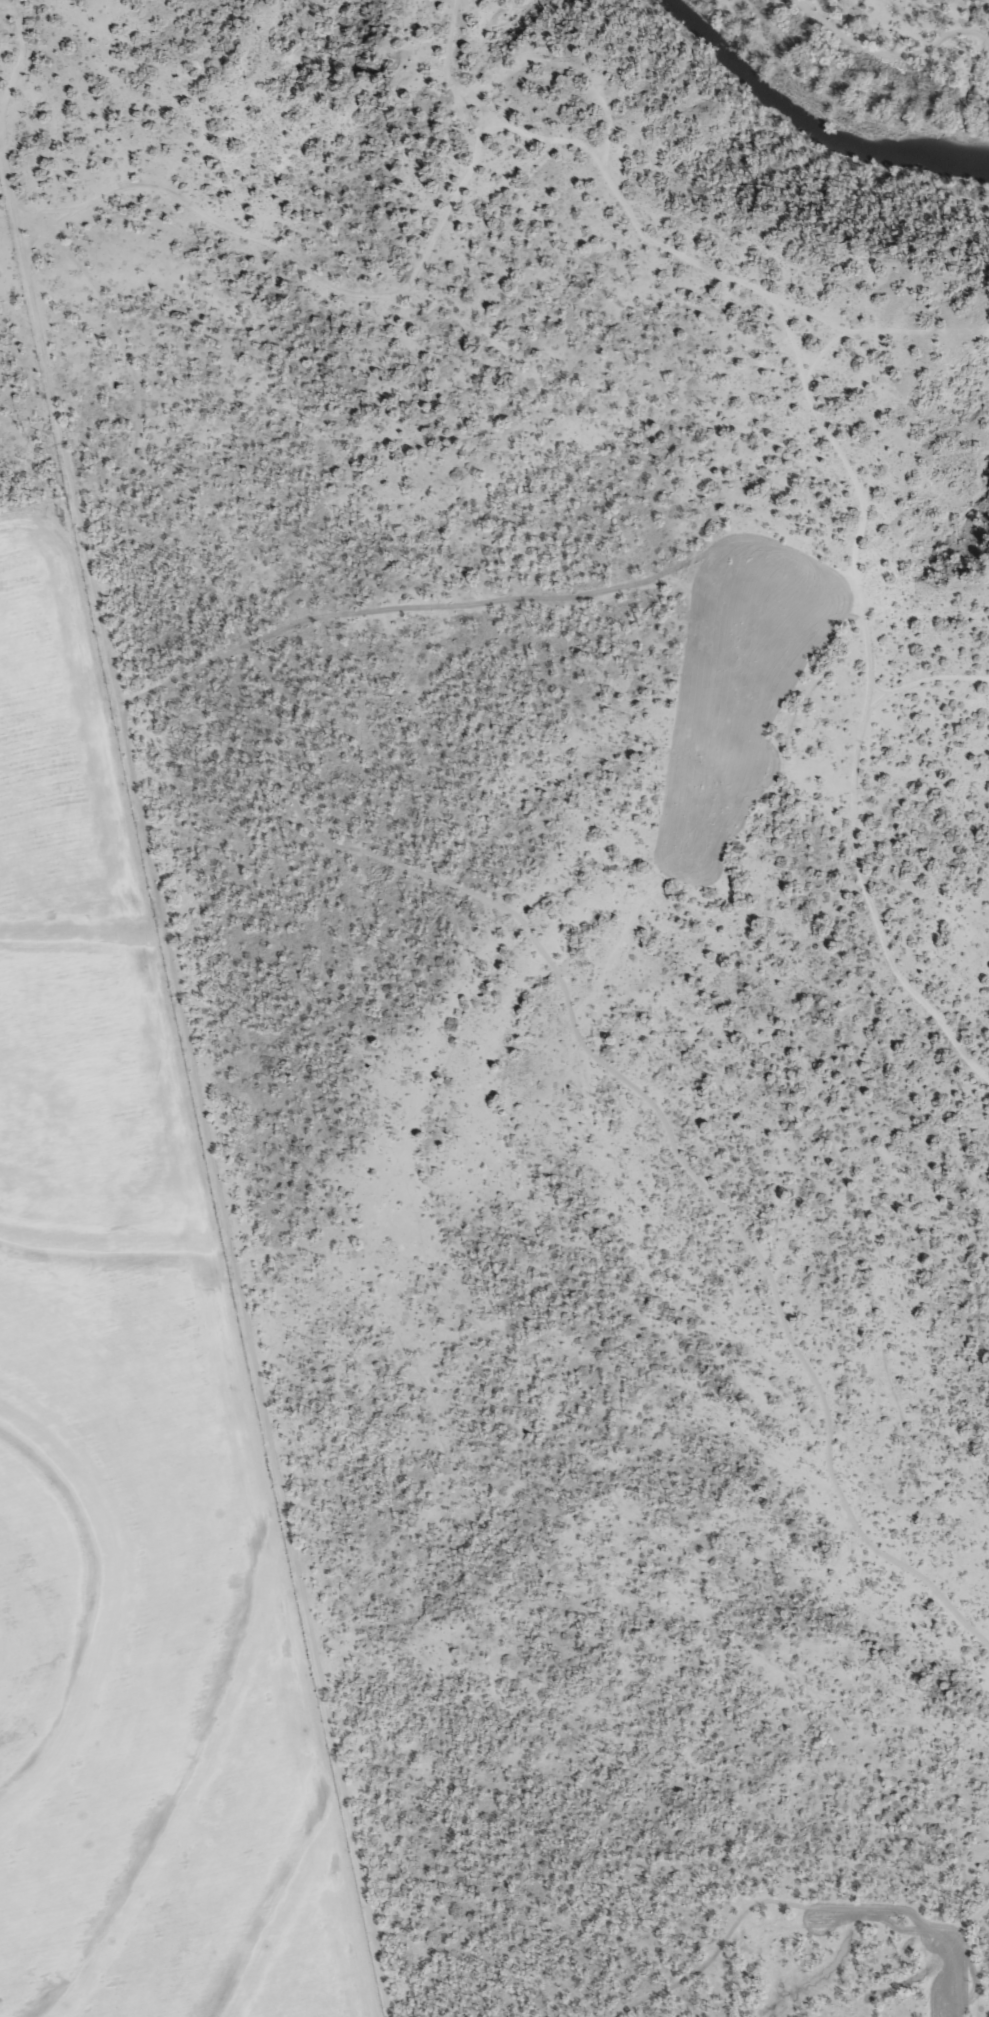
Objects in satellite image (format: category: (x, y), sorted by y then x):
river: (806, 123)
road: (264, 1200)

